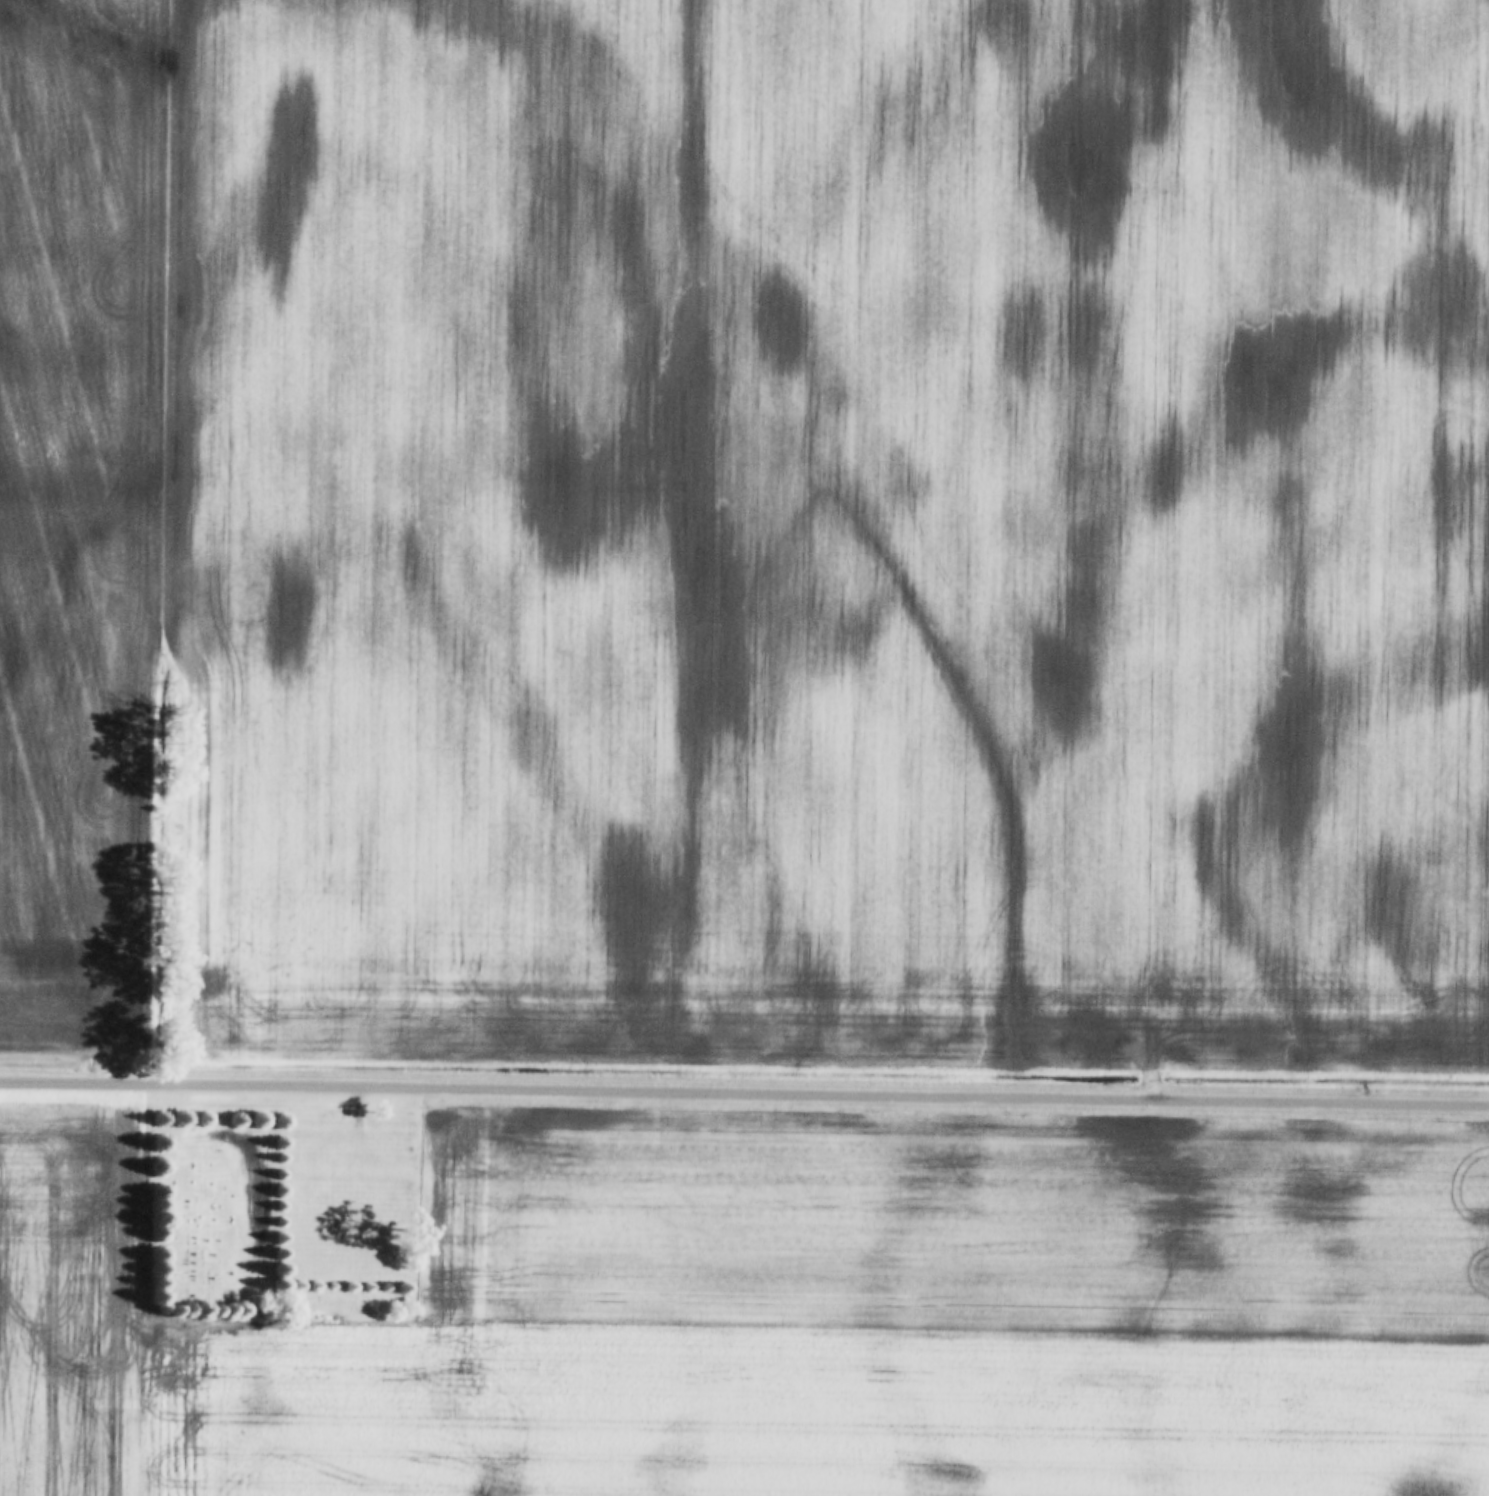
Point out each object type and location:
road: (744, 1092)
park: (215, 1218)

